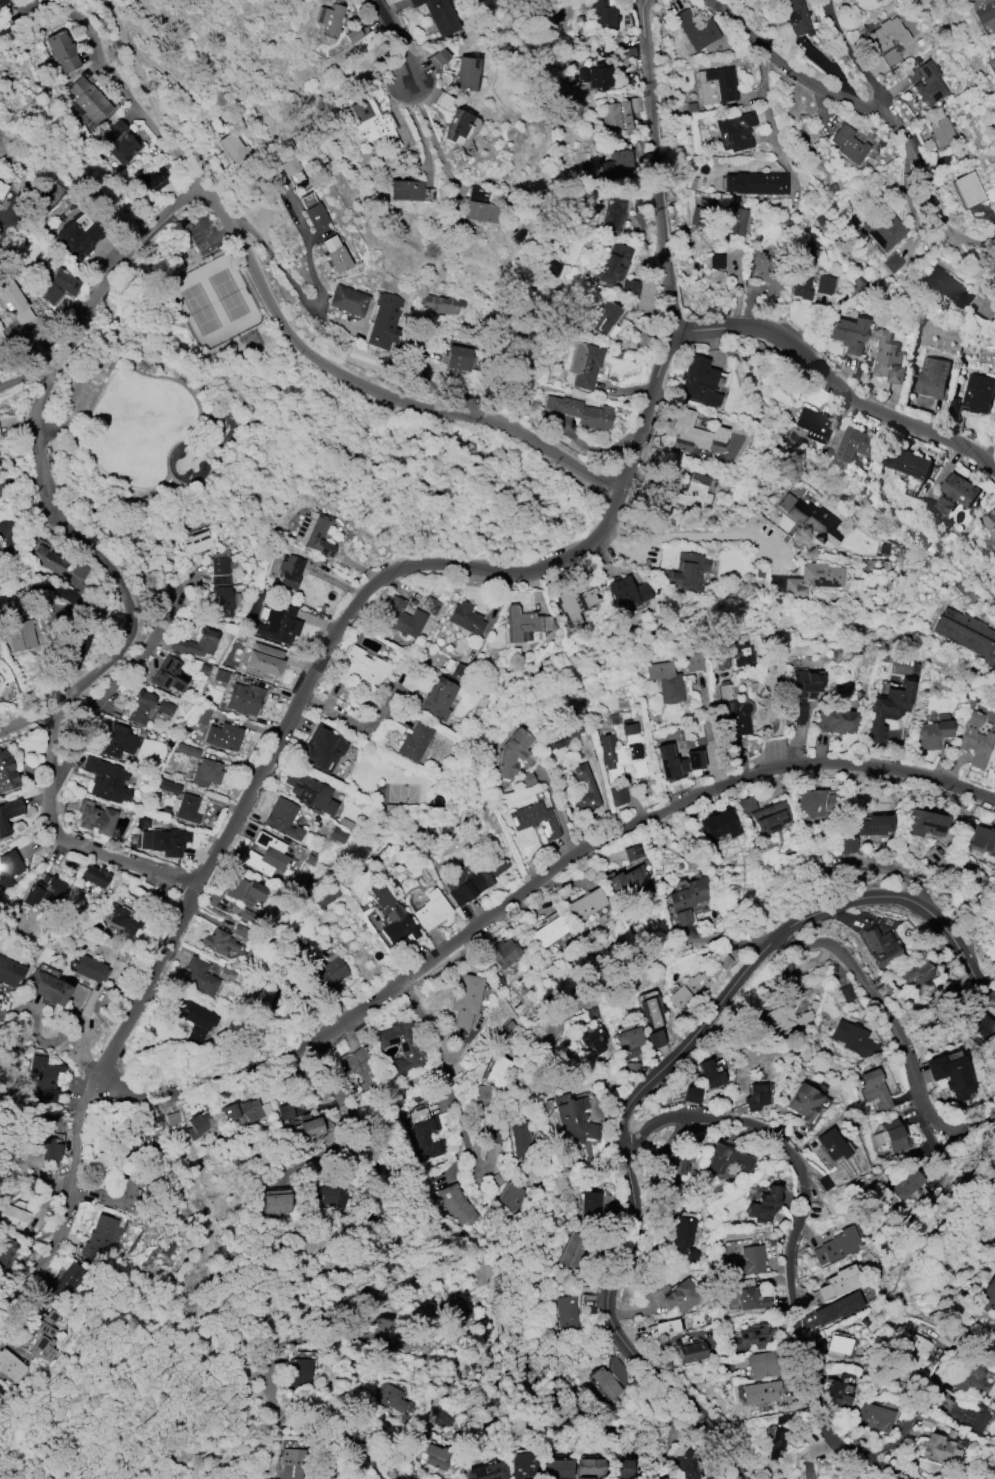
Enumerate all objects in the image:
building: (3, 2)
building: (983, 13)
building: (438, 15)
building: (605, 15)
building: (796, 17)
building: (332, 19)
building: (696, 30)
building: (888, 33)
road: (393, 34)
building: (353, 35)
building: (61, 51)
building: (993, 59)
road: (789, 71)
building: (464, 73)
road: (139, 74)
building: (595, 76)
building: (927, 83)
building: (716, 85)
building: (89, 99)
building: (442, 100)
road: (768, 115)
building: (616, 116)
building: (373, 122)
building: (456, 127)
road: (430, 131)
building: (735, 131)
building: (941, 132)
building: (121, 142)
building: (848, 143)
road: (898, 146)
building: (233, 147)
building: (288, 163)
building: (615, 164)
road: (663, 165)
building: (152, 177)
building: (755, 183)
building: (2, 188)
building: (405, 189)
building: (968, 189)
building: (477, 205)
building: (611, 213)
building: (720, 215)
building: (315, 216)
building: (883, 227)
building: (78, 238)
road: (209, 239)
building: (335, 254)
building: (716, 261)
road: (966, 261)
building: (613, 263)
building: (803, 271)
building: (764, 273)
building: (824, 285)
building: (59, 286)
building: (631, 287)
building: (946, 287)
park: (215, 297)
building: (14, 300)
building: (347, 300)
road: (313, 302)
building: (440, 304)
road: (275, 314)
building: (602, 317)
building: (383, 321)
building: (849, 333)
road: (16, 343)
building: (458, 358)
building: (888, 360)
building: (585, 365)
road: (818, 370)
road: (23, 374)
park: (175, 376)
building: (933, 378)
building: (698, 381)
building: (978, 394)
building: (517, 396)
building: (580, 411)
building: (812, 424)
road: (636, 431)
building: (695, 434)
building: (855, 444)
road: (975, 452)
building: (907, 462)
building: (690, 491)
building: (955, 493)
road: (25, 515)
building: (810, 518)
building: (989, 521)
building: (314, 532)
road: (667, 540)
building: (197, 542)
building: (46, 559)
road: (99, 566)
building: (687, 571)
building: (289, 572)
building: (813, 578)
building: (223, 588)
building: (626, 591)
building: (575, 602)
building: (433, 607)
road: (85, 611)
building: (402, 618)
building: (465, 618)
building: (278, 623)
building: (525, 623)
building: (966, 634)
building: (20, 635)
building: (203, 642)
building: (733, 653)
building: (263, 658)
building: (693, 661)
building: (360, 668)
building: (170, 675)
building: (666, 682)
building: (340, 692)
road: (109, 693)
building: (801, 693)
building: (243, 698)
building: (437, 698)
building: (763, 701)
building: (148, 707)
building: (887, 709)
building: (735, 713)
building: (201, 715)
road: (25, 719)
building: (835, 721)
road: (711, 732)
building: (932, 732)
building: (561, 734)
building: (223, 736)
building: (974, 739)
building: (119, 741)
building: (414, 741)
building: (321, 749)
building: (187, 750)
building: (512, 753)
building: (622, 755)
building: (677, 762)
building: (994, 768)
building: (7, 772)
building: (206, 772)
building: (106, 779)
building: (168, 786)
road: (603, 786)
building: (585, 790)
building: (309, 792)
building: (619, 795)
building: (746, 804)
building: (815, 804)
building: (187, 808)
road: (557, 809)
building: (9, 814)
building: (770, 816)
building: (283, 818)
building: (96, 819)
building: (536, 819)
building: (924, 823)
building: (718, 824)
building: (870, 825)
road: (226, 833)
building: (337, 836)
building: (982, 839)
building: (164, 841)
building: (266, 855)
building: (8, 868)
building: (95, 875)
building: (628, 880)
building: (472, 881)
road: (530, 888)
building: (43, 890)
building: (243, 890)
building: (685, 900)
building: (585, 904)
building: (432, 909)
building: (248, 915)
building: (394, 916)
building: (121, 918)
building: (548, 932)
building: (218, 942)
road: (687, 944)
building: (881, 947)
building: (504, 952)
building: (90, 969)
building: (785, 970)
building: (9, 972)
building: (329, 973)
building: (915, 974)
building: (200, 975)
building: (693, 985)
building: (46, 987)
building: (846, 993)
building: (467, 1000)
building: (651, 1012)
building: (784, 1018)
building: (194, 1019)
road: (887, 1036)
building: (627, 1037)
building: (853, 1038)
road: (54, 1039)
building: (594, 1039)
building: (654, 1039)
building: (402, 1048)
building: (357, 1067)
building: (498, 1071)
building: (710, 1073)
road: (308, 1075)
building: (951, 1075)
building: (46, 1077)
road: (447, 1078)
road: (652, 1081)
building: (875, 1090)
building: (482, 1093)
building: (690, 1094)
building: (755, 1097)
building: (803, 1101)
building: (243, 1111)
building: (285, 1111)
building: (572, 1118)
building: (162, 1125)
building: (198, 1125)
building: (310, 1127)
building: (427, 1132)
building: (890, 1135)
building: (519, 1139)
building: (831, 1144)
building: (52, 1149)
building: (726, 1160)
building: (671, 1165)
building: (906, 1185)
building: (121, 1195)
building: (328, 1195)
building: (511, 1196)
building: (276, 1204)
building: (458, 1204)
building: (763, 1205)
building: (590, 1209)
building: (14, 1216)
building: (100, 1236)
building: (684, 1238)
road: (793, 1243)
building: (836, 1245)
building: (572, 1250)
building: (7, 1251)
building: (748, 1260)
building: (68, 1281)
building: (839, 1282)
building: (986, 1294)
building: (681, 1296)
building: (751, 1298)
building: (836, 1308)
building: (454, 1309)
building: (566, 1311)
building: (665, 1327)
building: (45, 1336)
building: (752, 1336)
building: (838, 1344)
building: (691, 1352)
building: (913, 1352)
building: (11, 1365)
building: (761, 1365)
building: (299, 1372)
building: (968, 1376)
building: (609, 1378)
building: (760, 1392)
building: (839, 1394)
building: (394, 1398)
building: (873, 1417)
building: (970, 1417)
road: (910, 1424)
building: (776, 1441)
building: (939, 1449)
building: (436, 1456)
building: (291, 1463)
building: (526, 1465)
building: (689, 1465)
building: (592, 1466)
building: (624, 1467)
building: (559, 1469)
building: (488, 1471)
building: (561, 1478)
building: (586, 1478)
building: (851, 1478)

